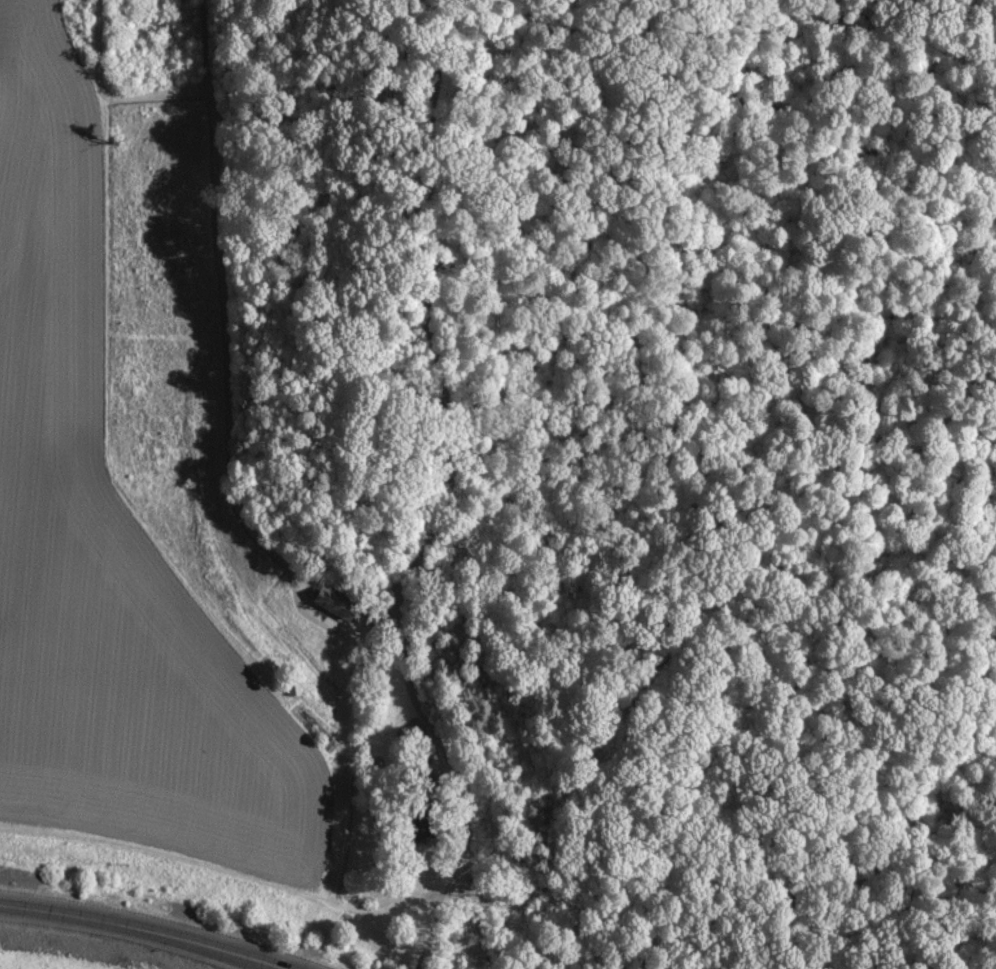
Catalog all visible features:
road: (446, 499)
building: (293, 688)
road: (139, 932)

